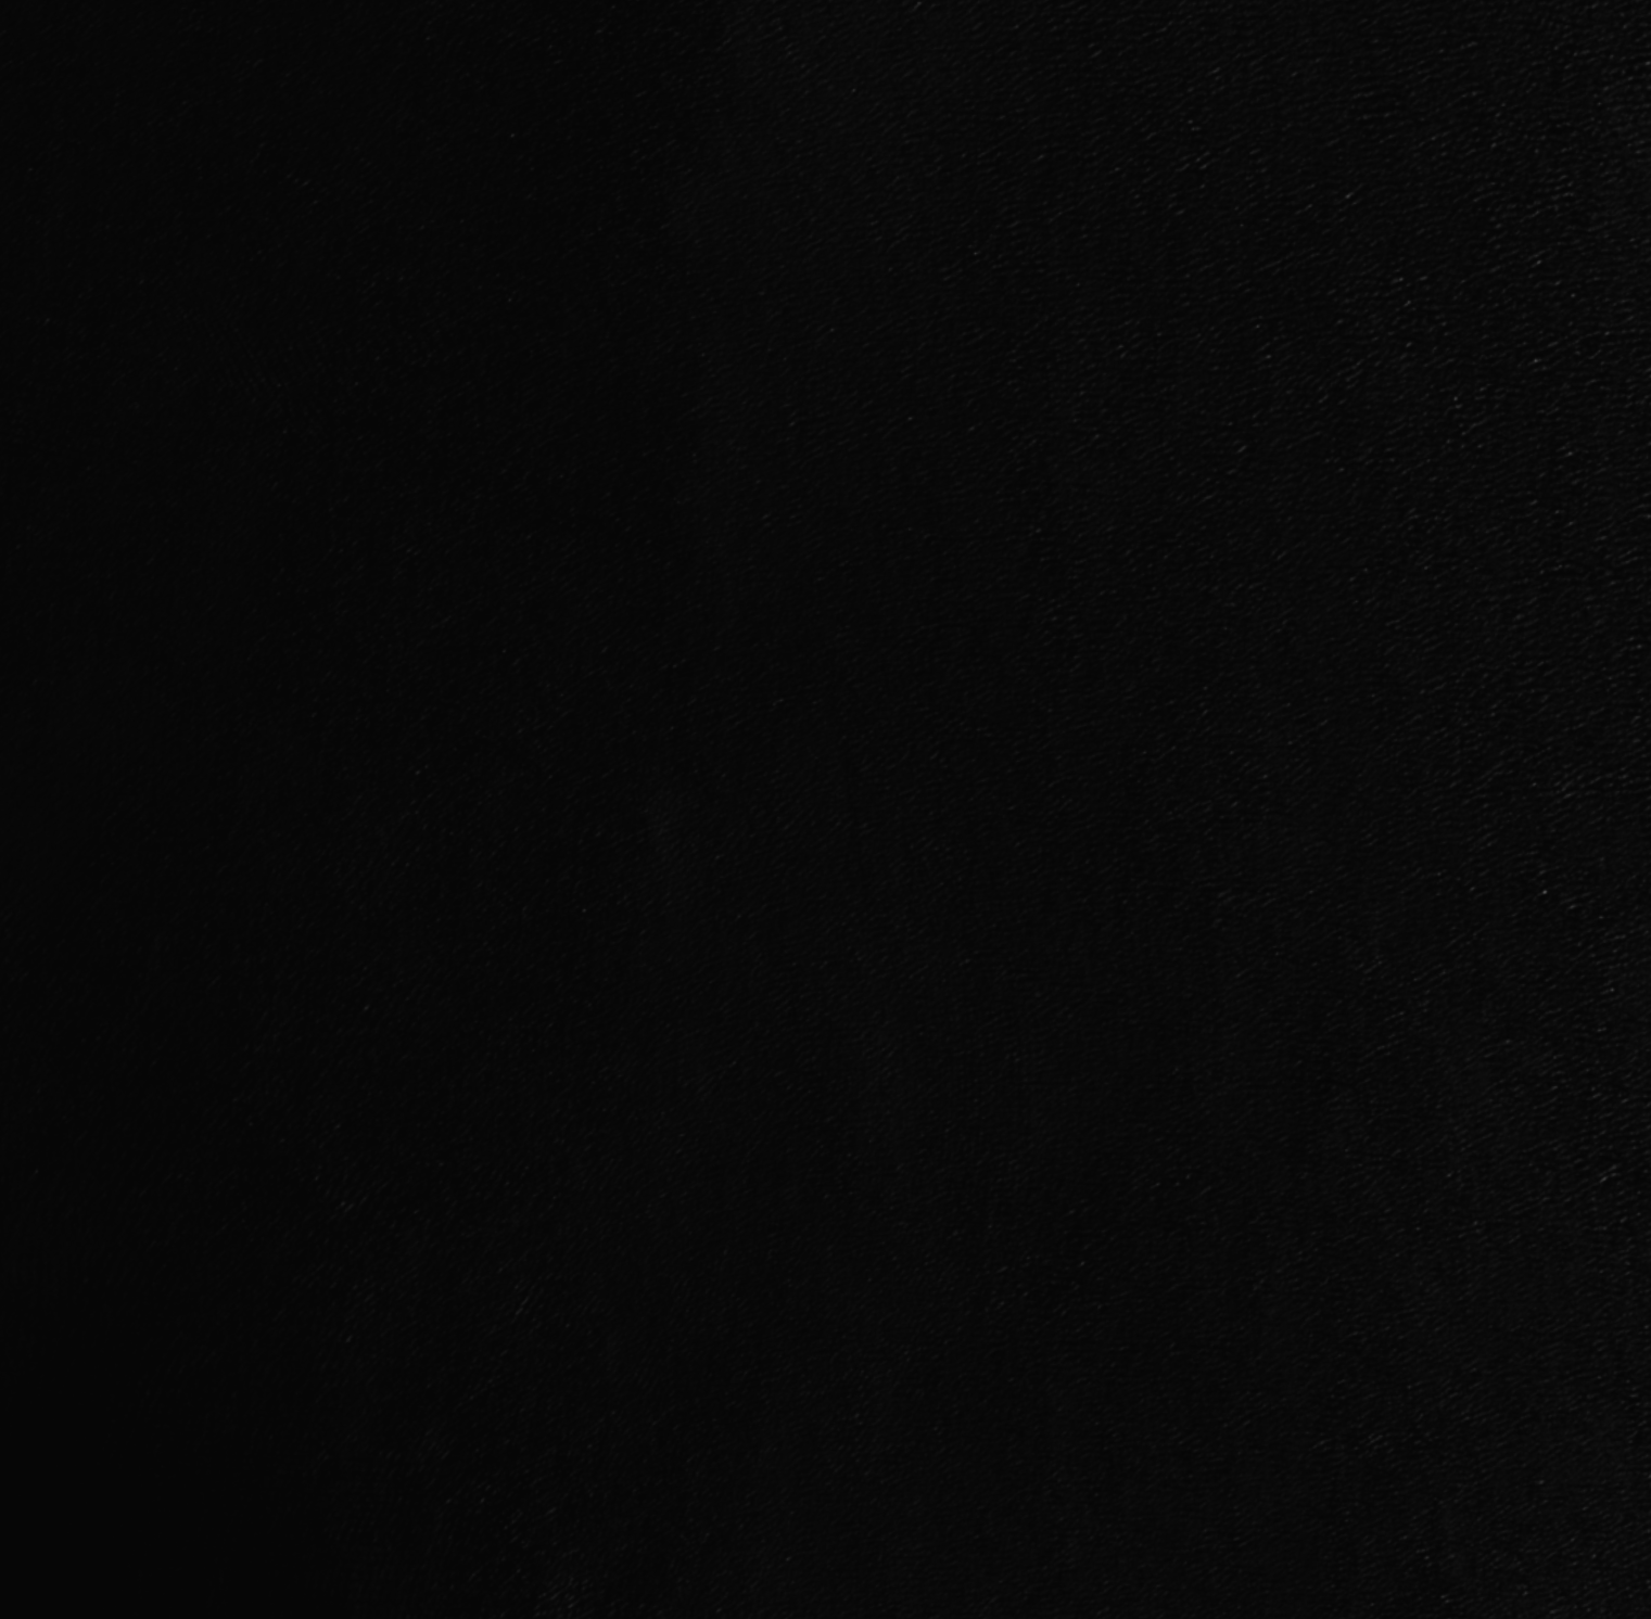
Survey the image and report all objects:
river: (1095, 509)
park: (825, 809)

